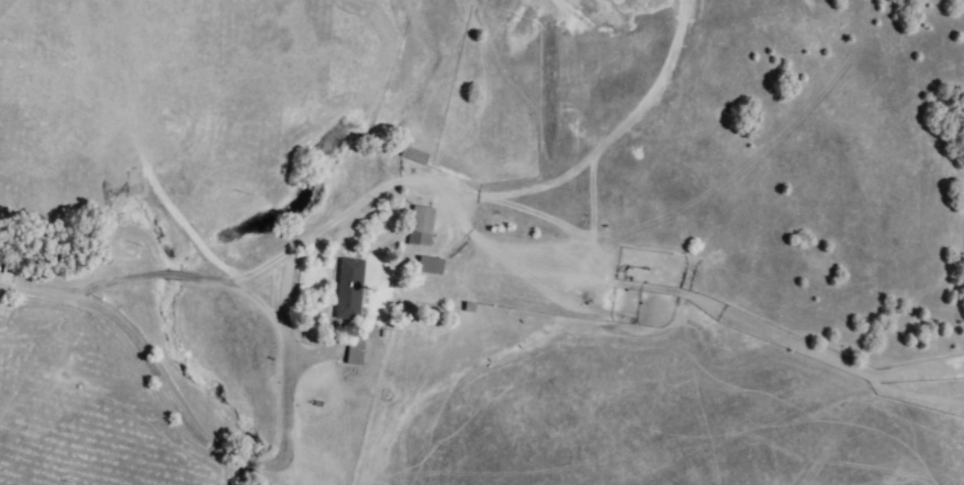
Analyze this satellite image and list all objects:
building: (422, 228)
building: (431, 266)
building: (350, 290)
road: (278, 456)

